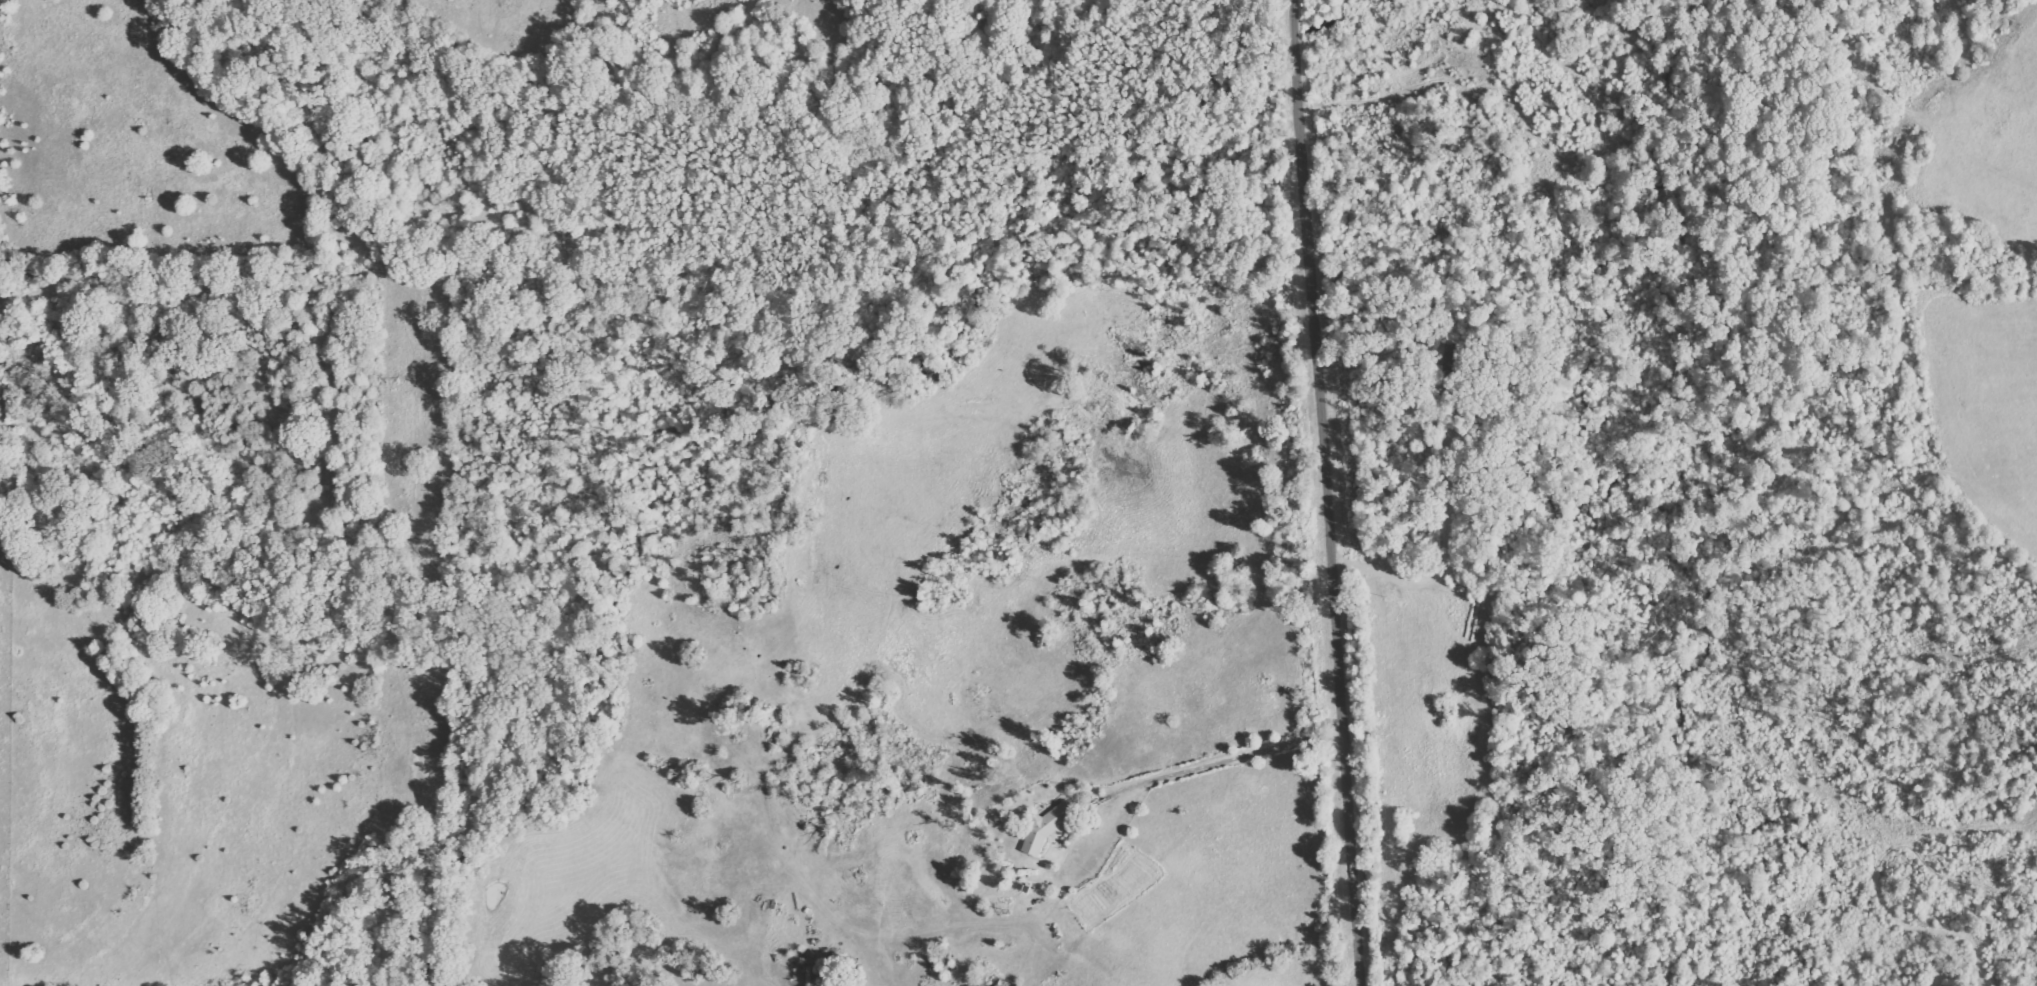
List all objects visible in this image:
building: (1453, 355)
road: (1133, 358)
road: (1333, 493)
road: (1442, 540)
road: (1202, 764)
building: (1047, 826)

